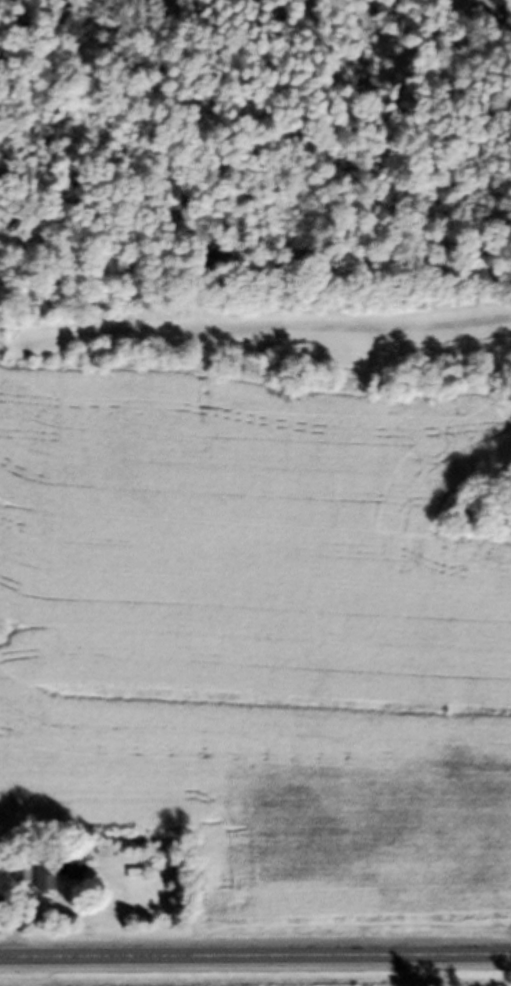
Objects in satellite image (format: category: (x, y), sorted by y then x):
building: (51, 878)
road: (255, 959)

